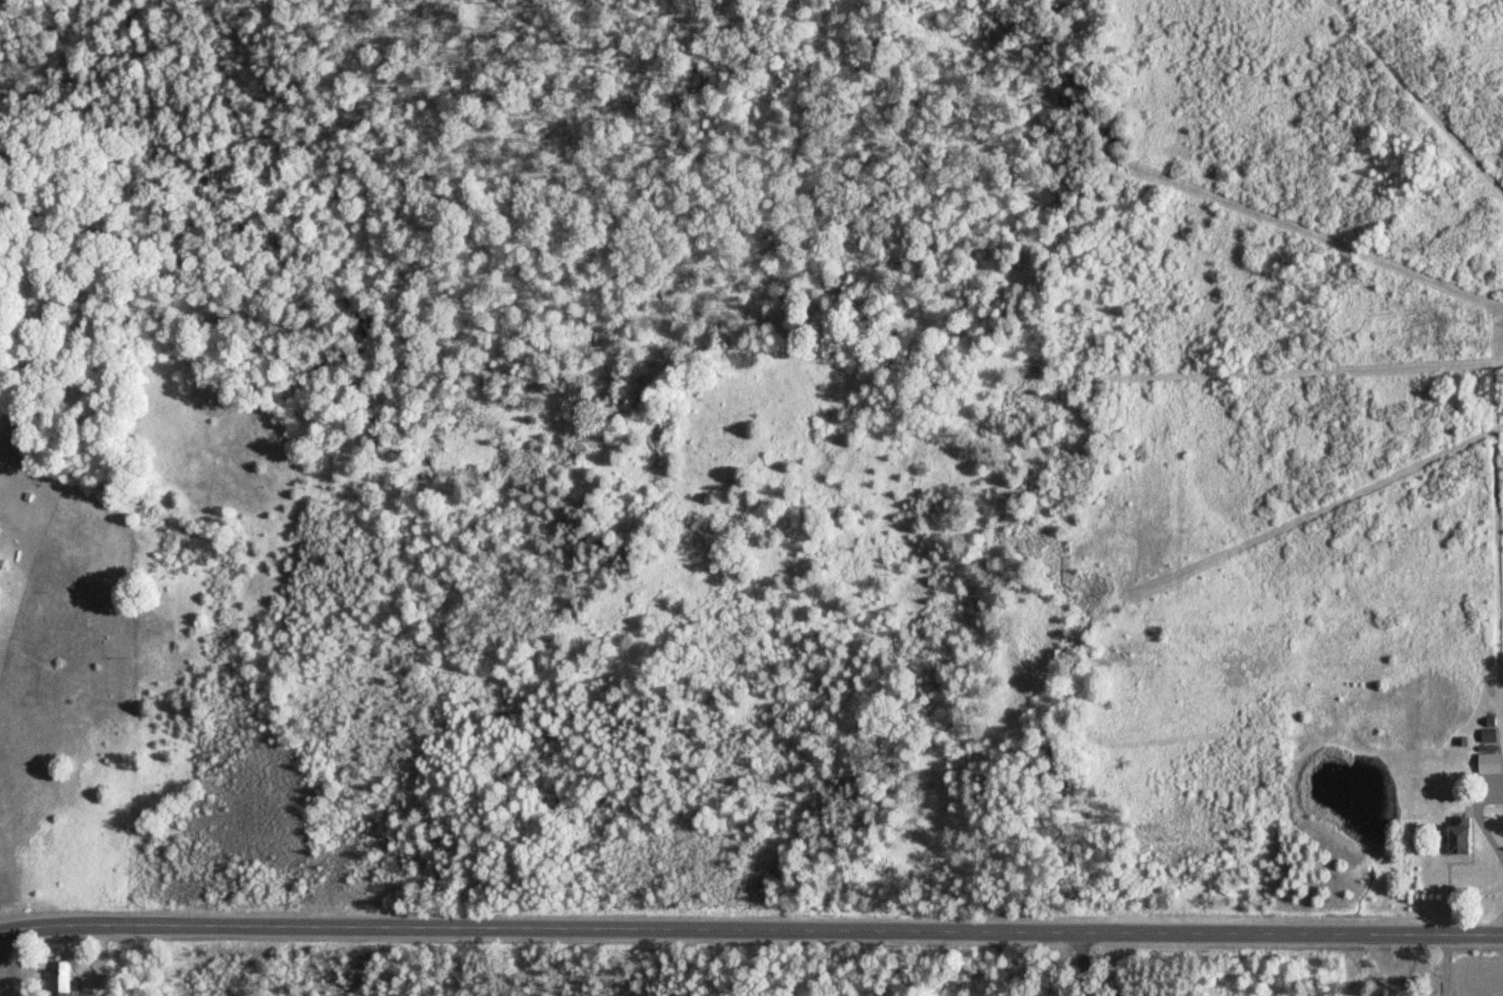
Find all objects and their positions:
building: (0, 527)
building: (1492, 762)
building: (1466, 835)
road: (751, 935)
road: (1064, 964)
road: (838, 966)
building: (63, 976)

